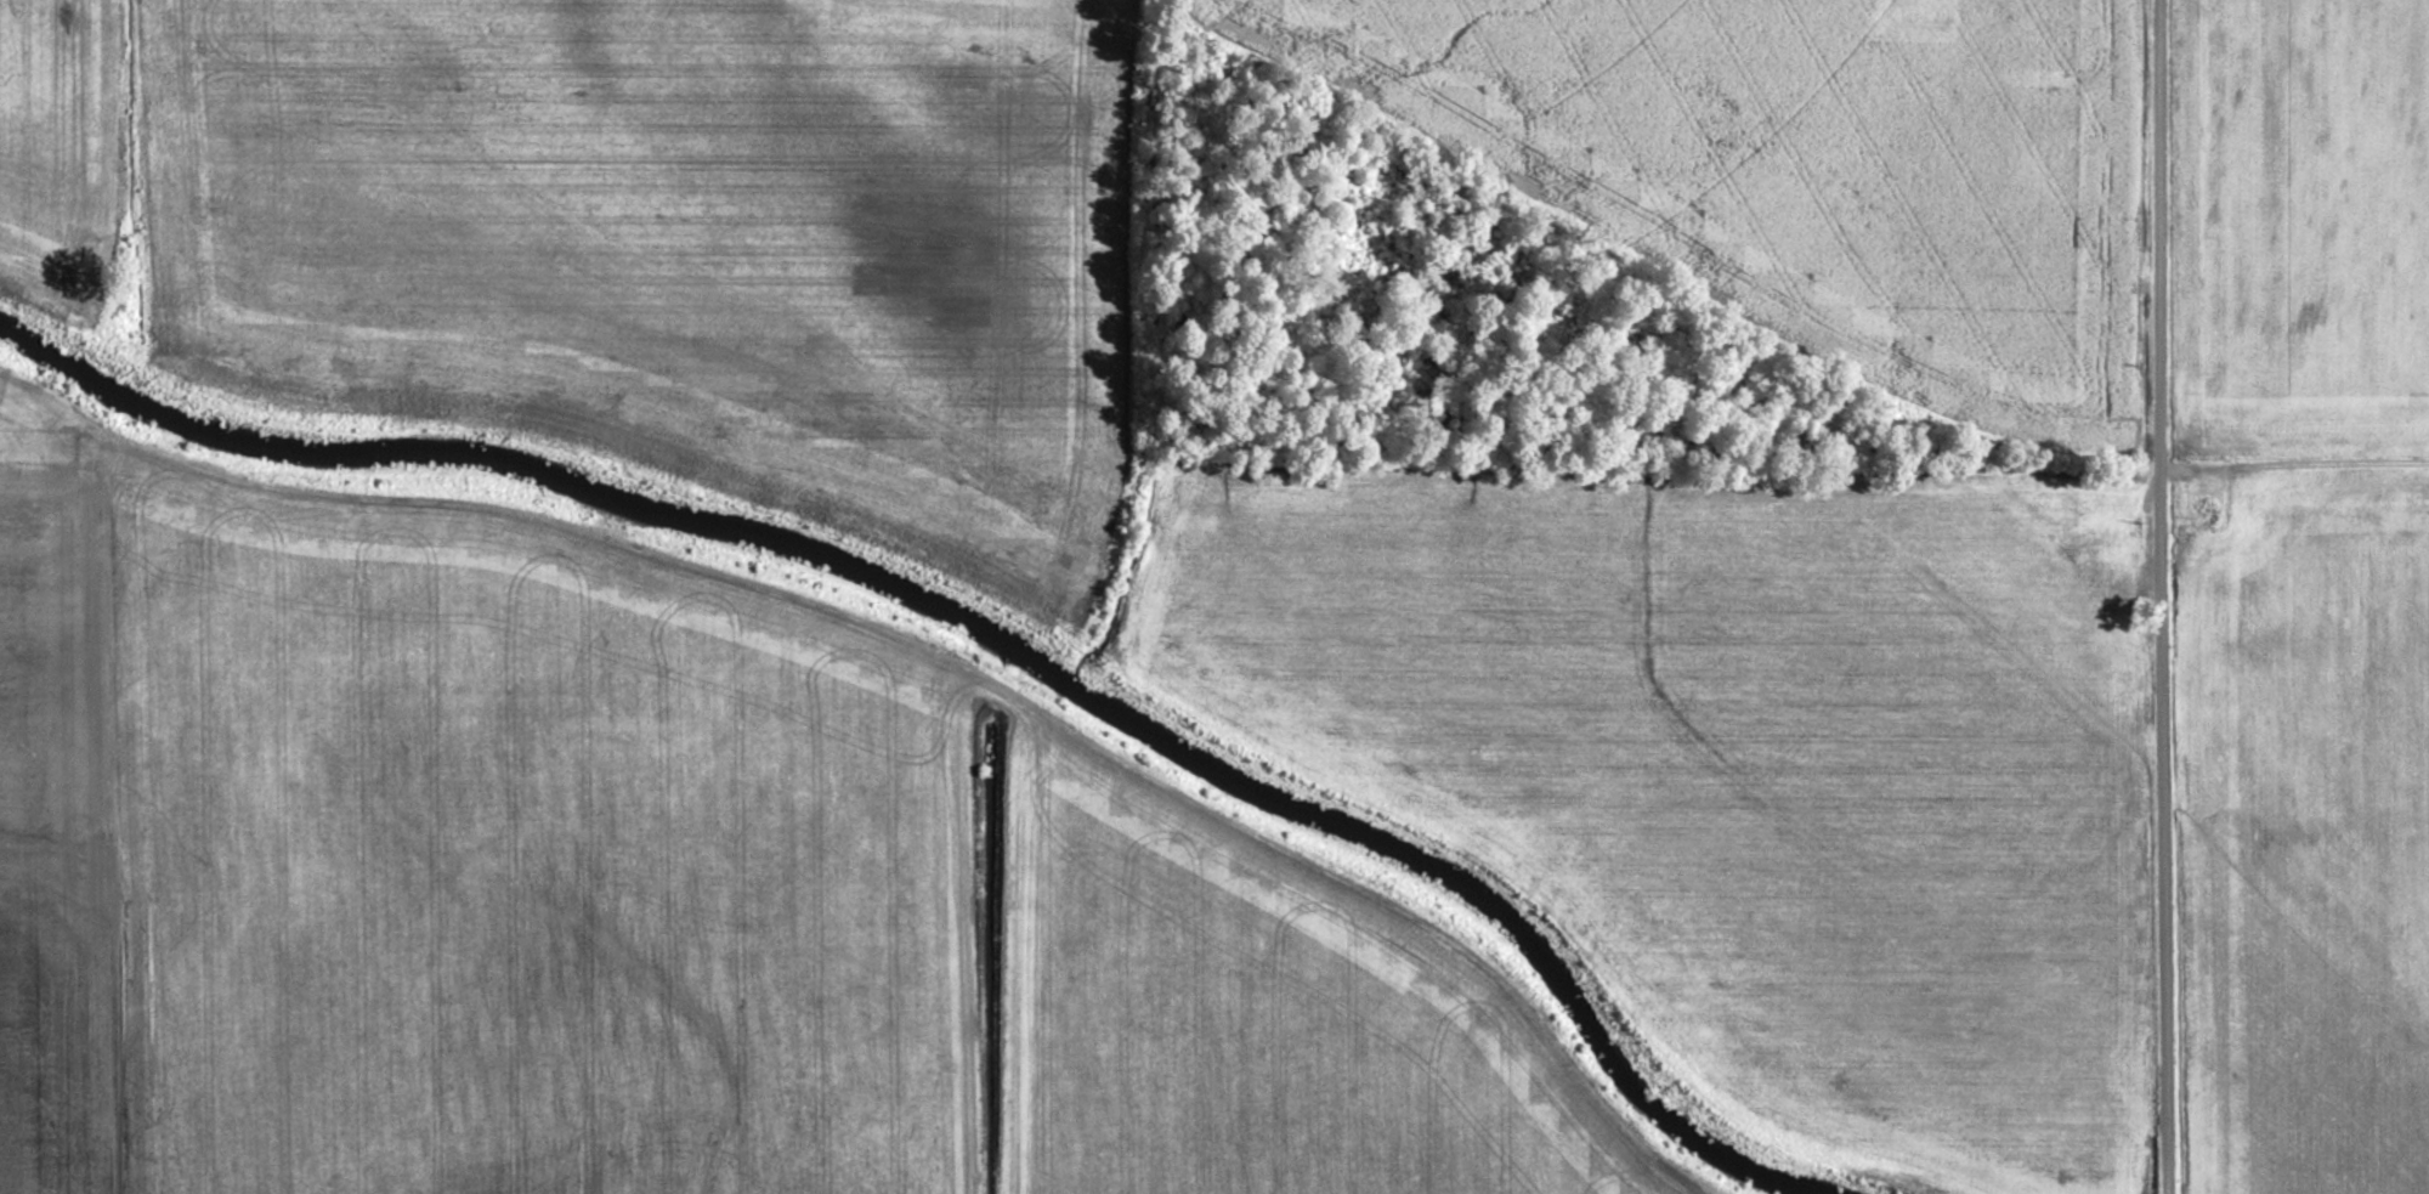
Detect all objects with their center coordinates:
road: (2164, 596)

